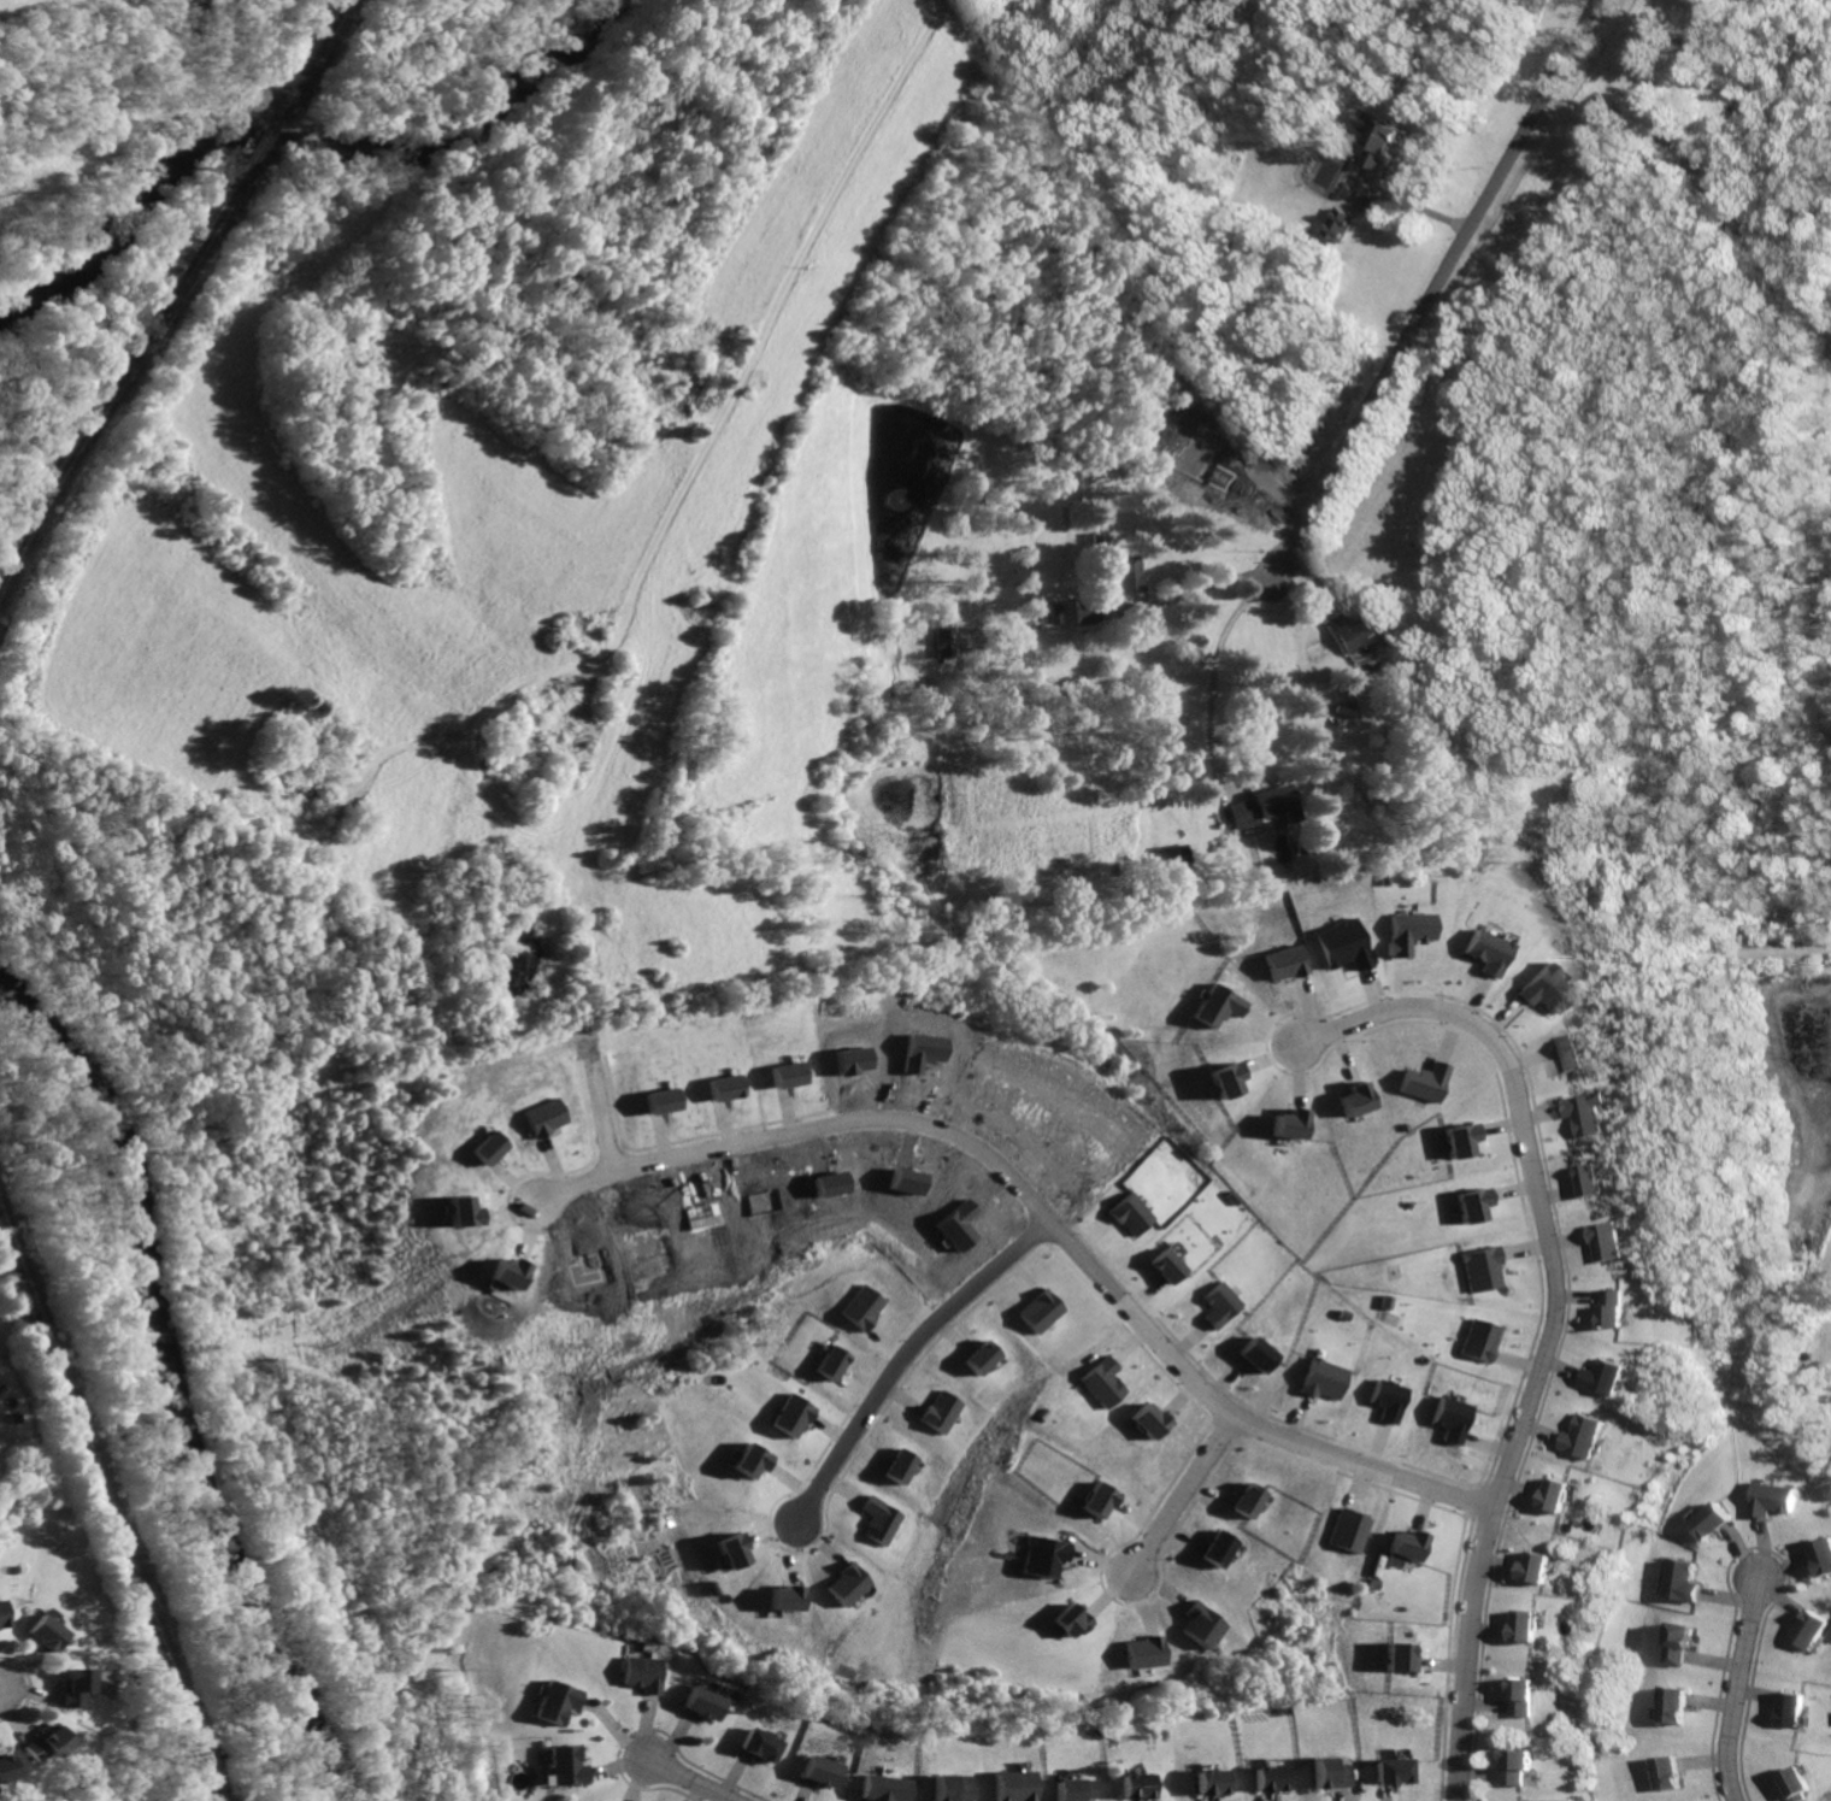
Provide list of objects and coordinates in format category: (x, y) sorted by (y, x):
crop: (34, 8)
railway: (317, 51)
building: (1383, 137)
railway: (266, 139)
building: (1342, 224)
road: (1435, 290)
railway: (118, 384)
road: (703, 446)
building: (1126, 572)
road: (1176, 594)
building: (1085, 611)
building: (1036, 616)
building: (1350, 629)
building: (947, 641)
road: (1212, 676)
building: (1438, 751)
building: (1264, 805)
building: (1173, 857)
building: (1405, 932)
building: (1343, 944)
building: (1483, 949)
building: (1285, 961)
building: (1536, 988)
building: (1218, 1005)
building: (1570, 1054)
building: (783, 1073)
building: (1224, 1079)
building: (1424, 1079)
building: (1356, 1100)
building: (1591, 1111)
road: (605, 1114)
building: (1289, 1123)
building: (1459, 1140)
building: (1594, 1179)
building: (1472, 1205)
building: (1126, 1212)
road: (1042, 1214)
building: (1609, 1243)
building: (1165, 1265)
building: (1484, 1267)
building: (1219, 1303)
building: (862, 1307)
building: (1617, 1308)
building: (1041, 1311)
building: (1344, 1314)
road: (1552, 1314)
building: (1483, 1331)
road: (905, 1354)
building: (1256, 1354)
building: (985, 1356)
building: (834, 1361)
building: (1602, 1366)
building: (1321, 1378)
building: (1103, 1383)
building: (1388, 1399)
building: (1148, 1409)
building: (1453, 1409)
building: (946, 1412)
building: (794, 1414)
building: (1584, 1429)
building: (754, 1459)
building: (906, 1467)
building: (1553, 1487)
building: (1095, 1489)
road: (1188, 1491)
building: (1777, 1499)
building: (1252, 1500)
railway: (107, 1509)
building: (887, 1520)
building: (1720, 1520)
building: (1352, 1522)
building: (1408, 1537)
building: (1223, 1538)
building: (1044, 1544)
building: (734, 1550)
building: (1825, 1554)
building: (1535, 1559)
building: (852, 1582)
building: (1688, 1582)
building: (789, 1597)
building: (1071, 1609)
building: (1207, 1615)
building: (1527, 1617)
building: (0, 1625)
building: (1815, 1631)
building: (41, 1635)
building: (1686, 1644)
building: (1399, 1649)
building: (1147, 1650)
building: (646, 1673)
building: (1524, 1685)
building: (71, 1687)
road: (1742, 1694)
building: (563, 1702)
building: (707, 1705)
building: (1680, 1705)
building: (1800, 1709)
building: (43, 1744)
building: (761, 1746)
building: (569, 1766)
building: (1520, 1766)
building: (5, 1768)
building: (822, 1771)
building: (1394, 1771)
building: (1673, 1773)
building: (1326, 1774)
building: (1266, 1779)
building: (1208, 1781)
road: (689, 1783)
building: (1804, 1784)
building: (1012, 1787)
building: (1137, 1787)
building: (887, 1788)
building: (948, 1788)
building: (1072, 1789)

